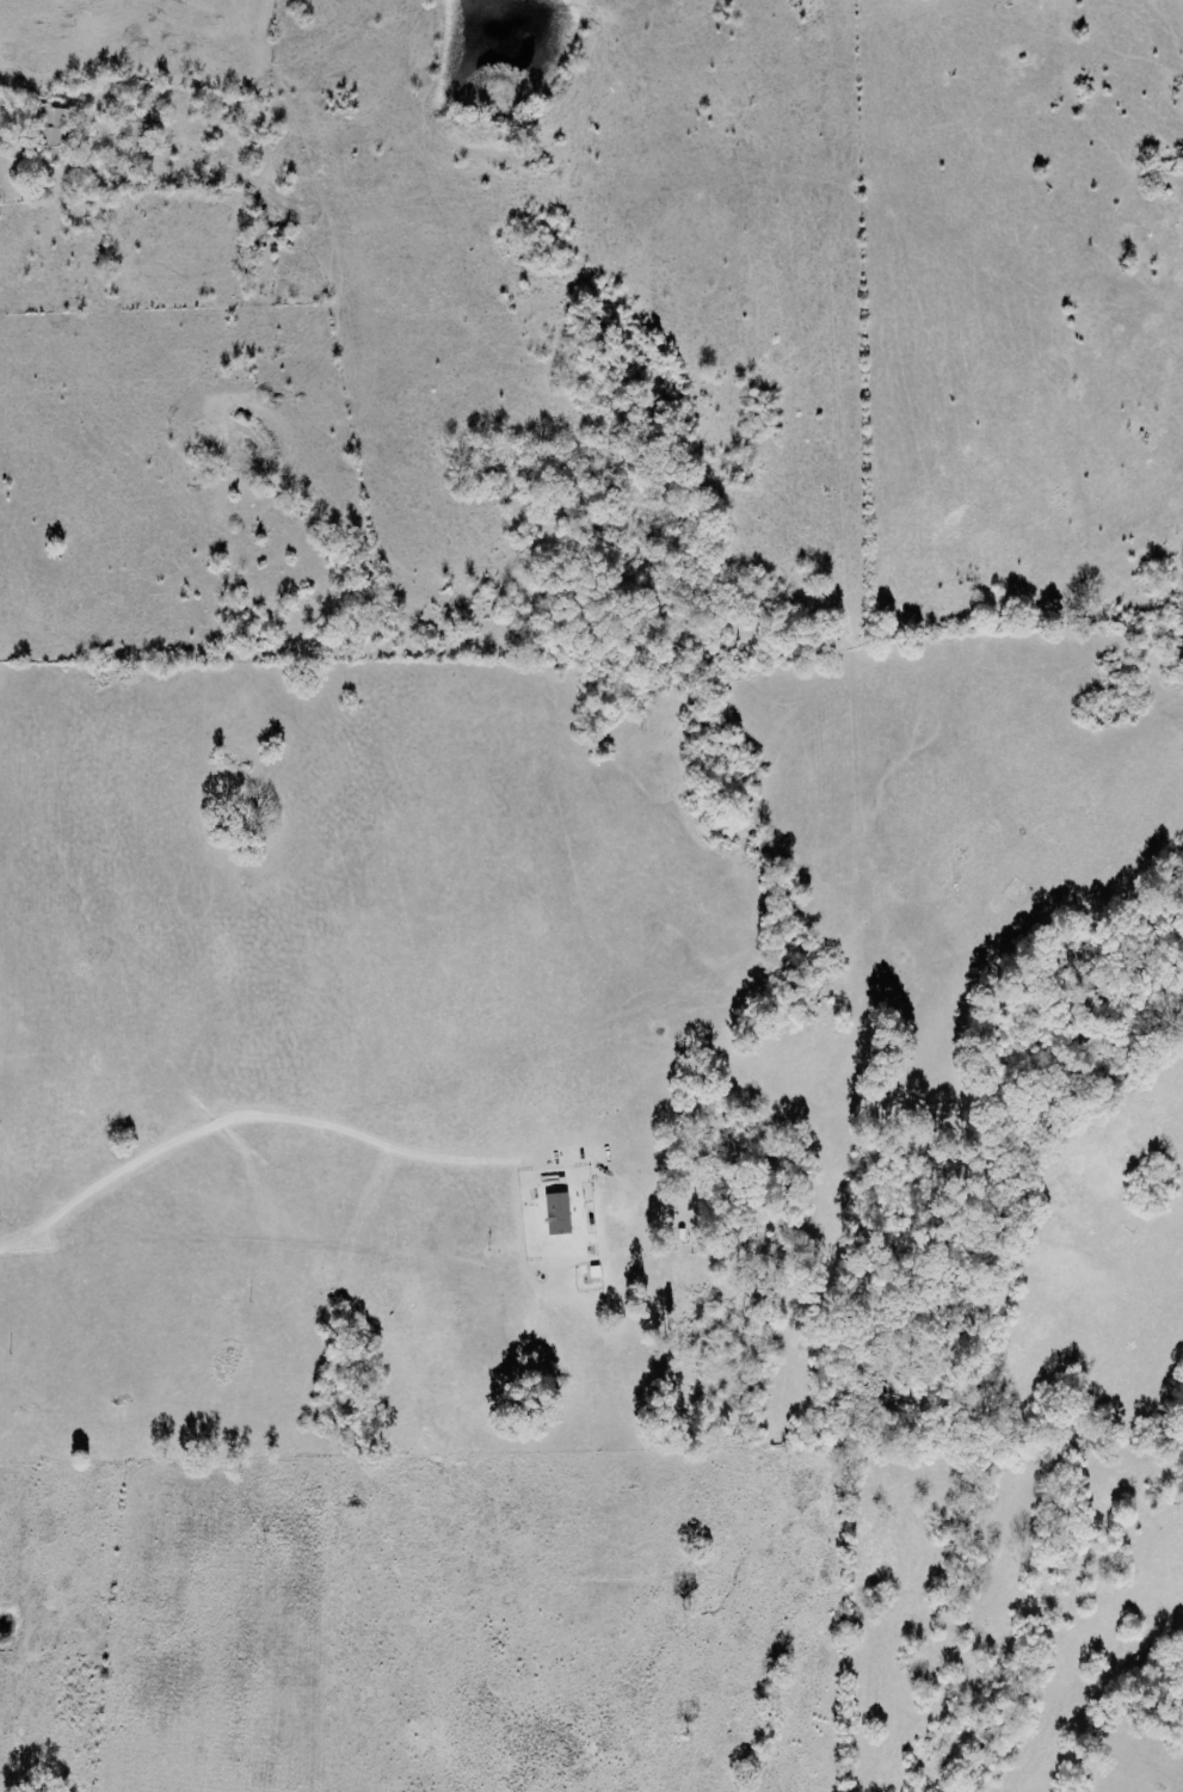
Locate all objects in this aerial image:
building: (53, 130)
building: (561, 1214)

